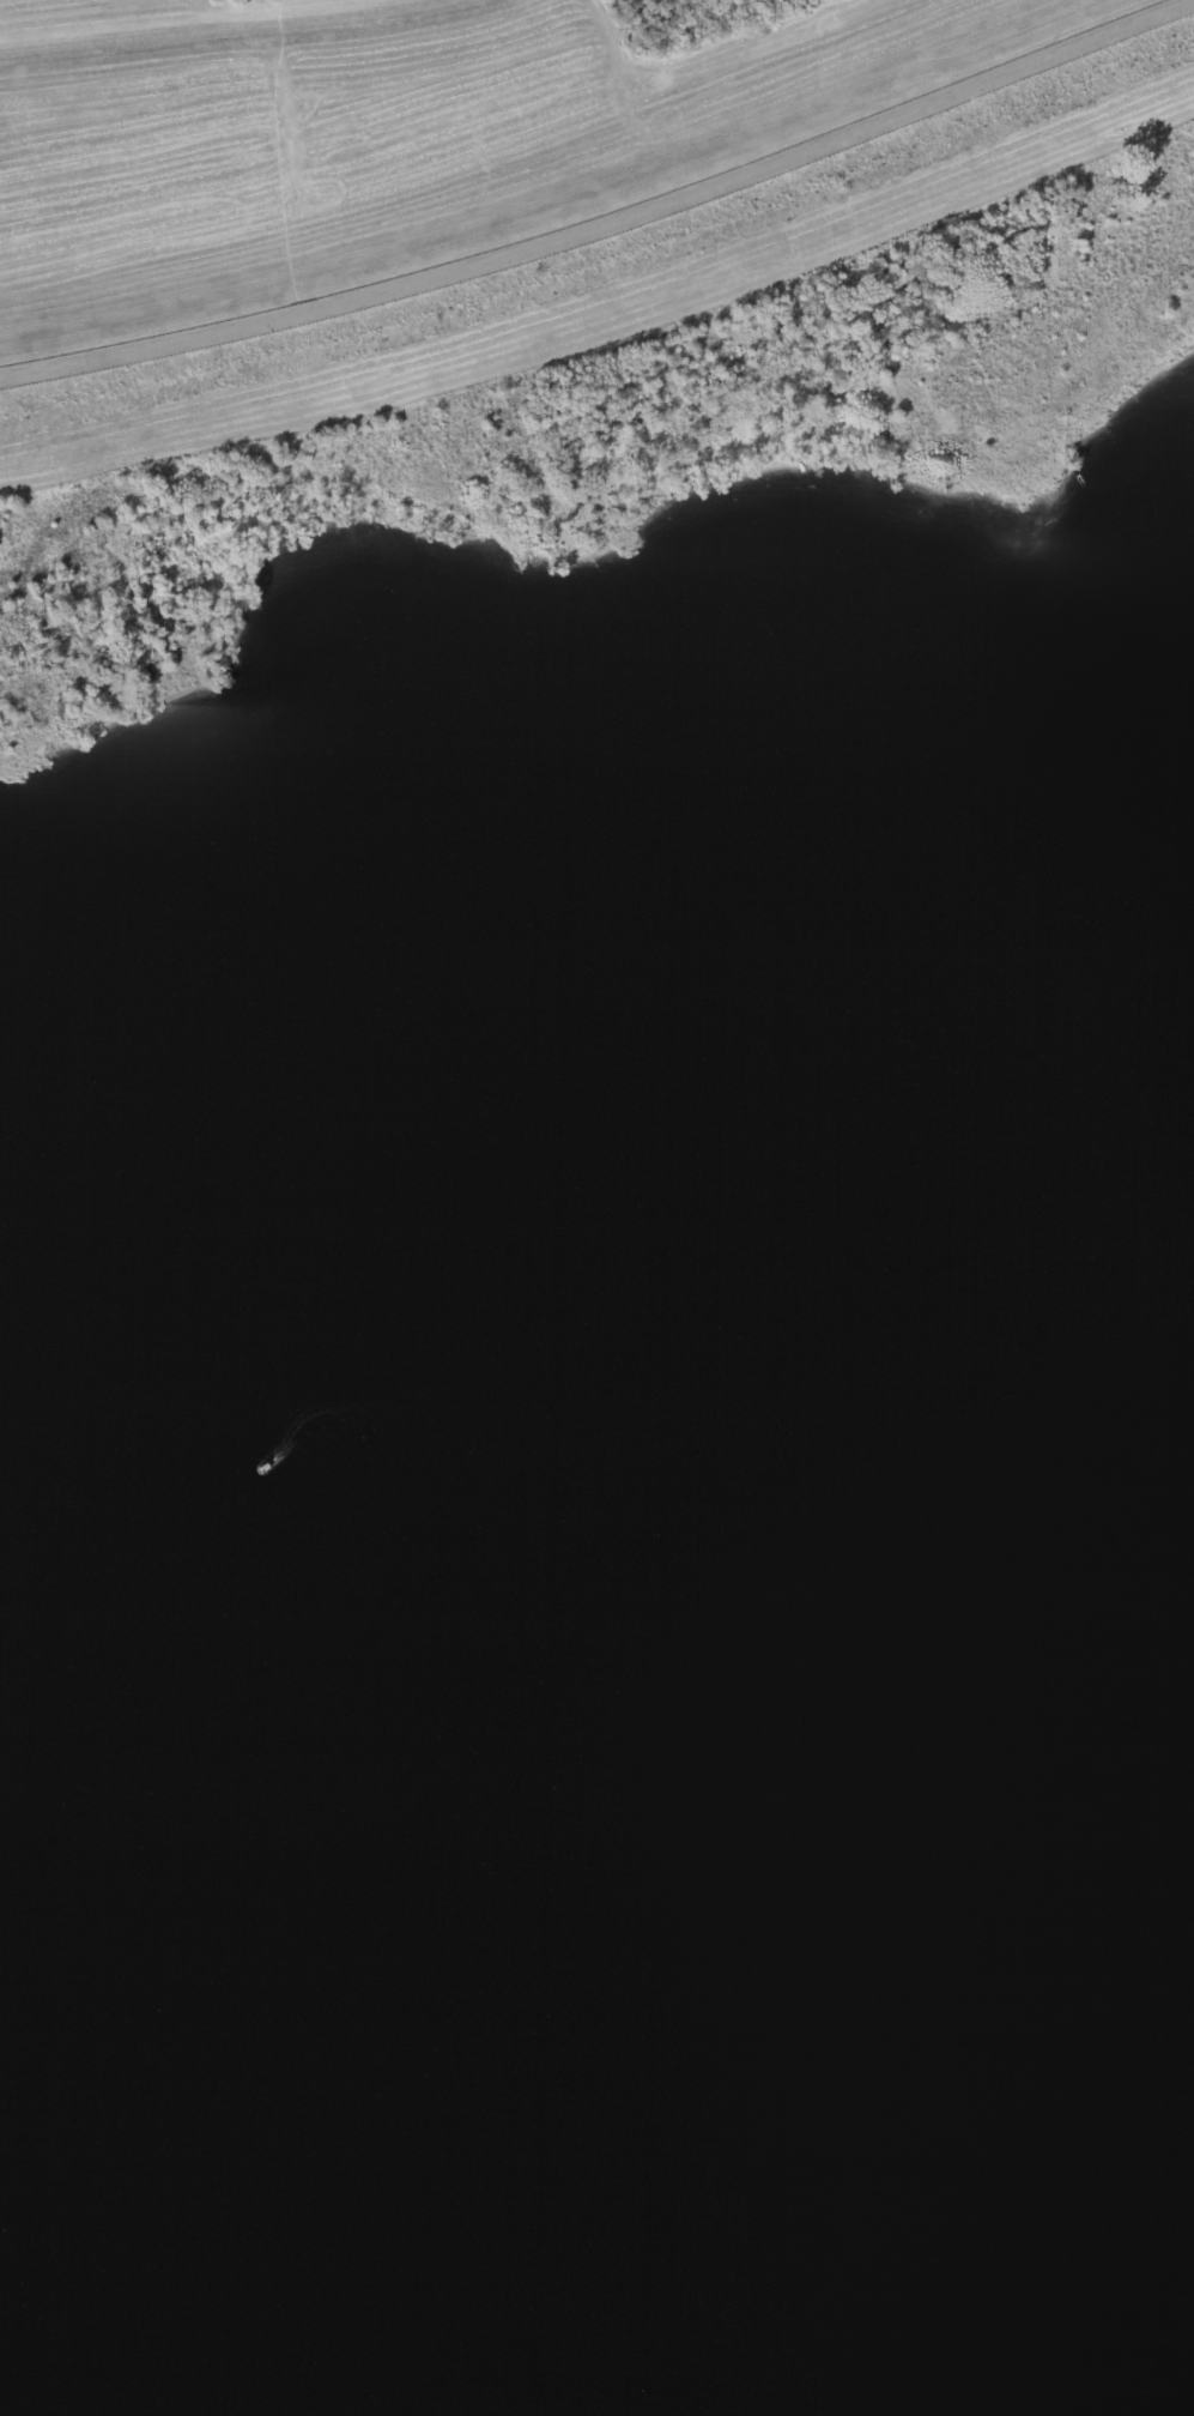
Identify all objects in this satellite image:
road: (607, 224)
park: (632, 436)

